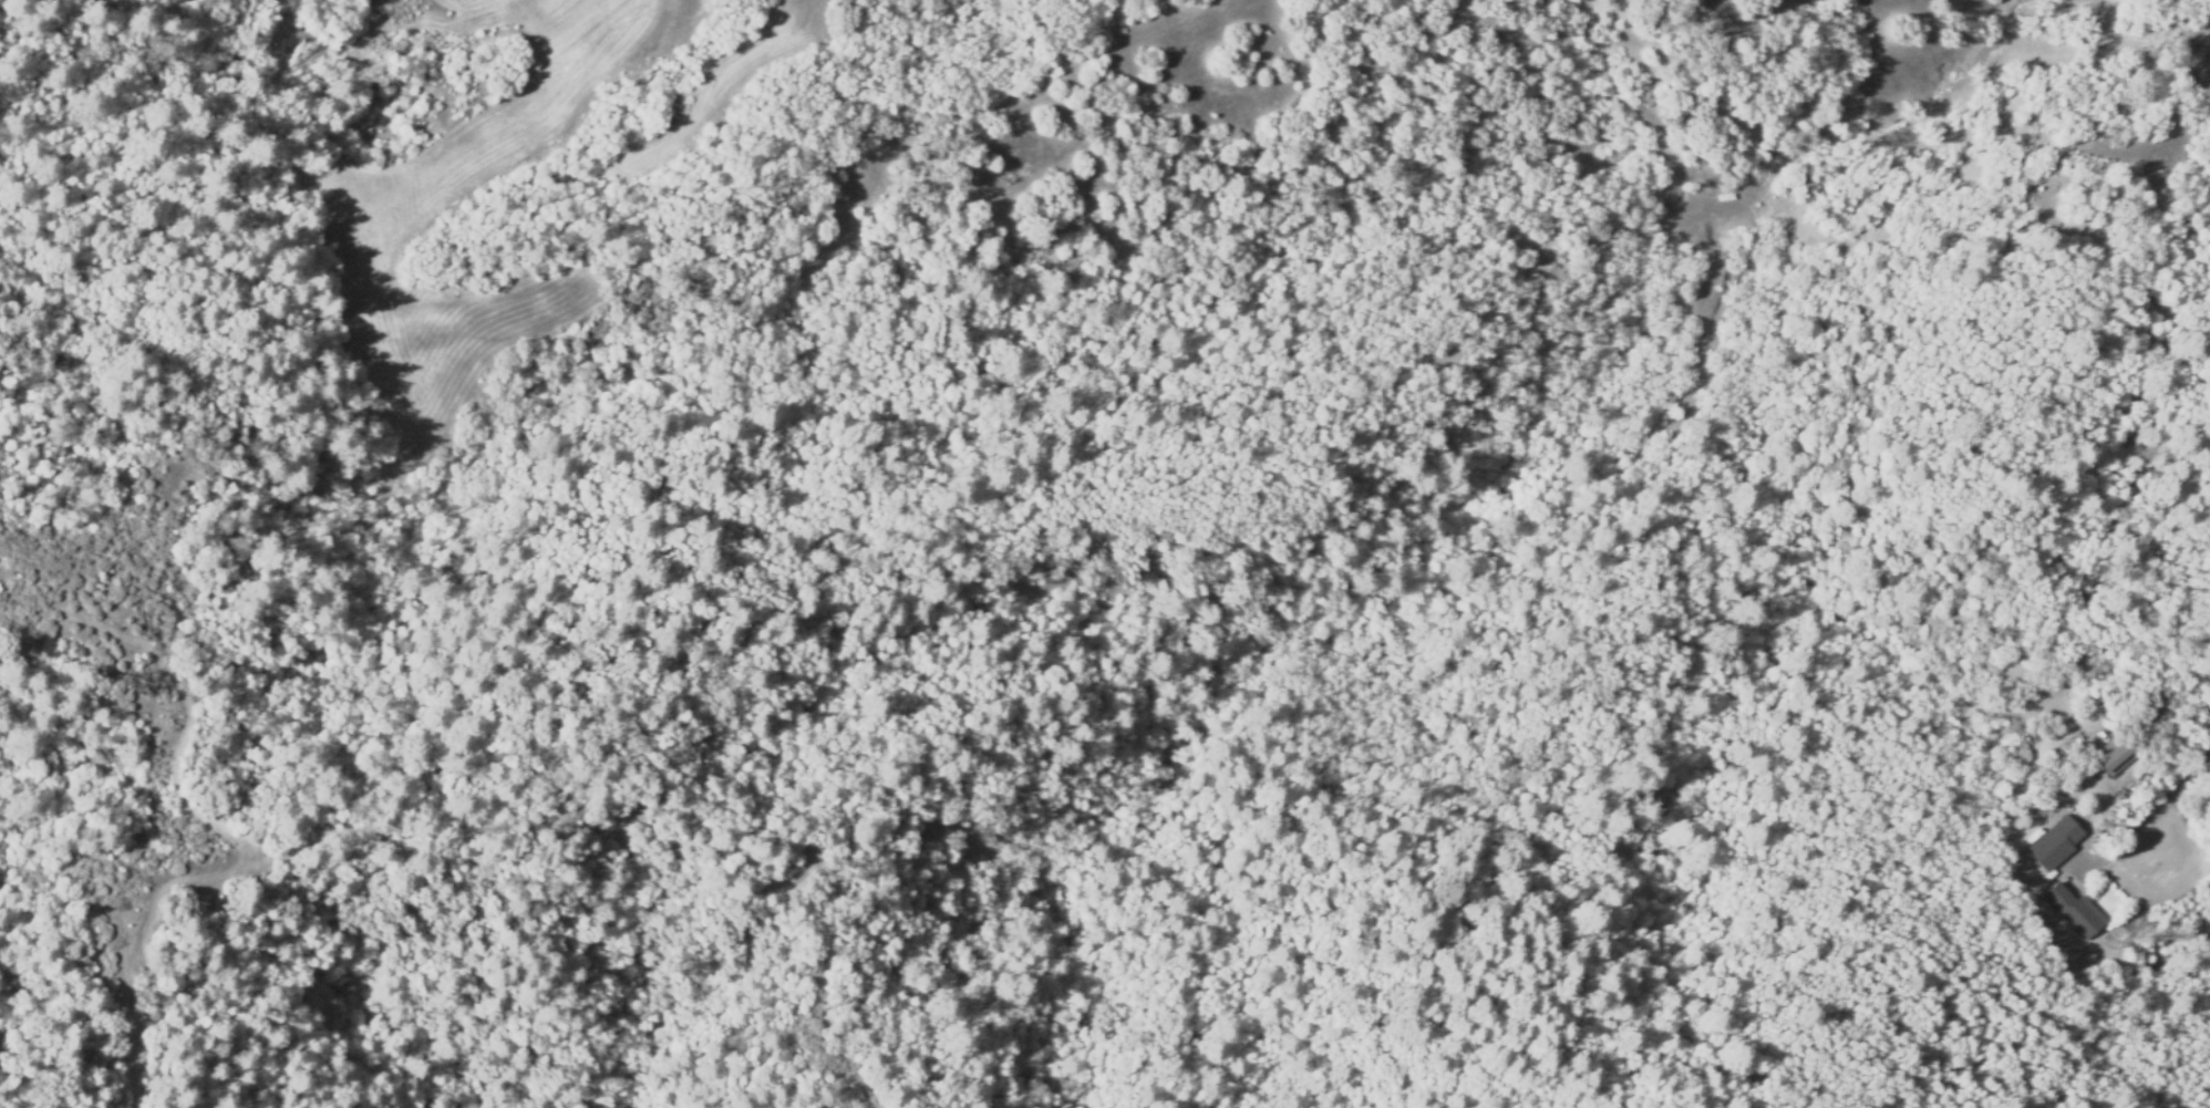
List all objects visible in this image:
building: (1725, 196)
building: (2110, 756)
building: (2047, 850)
building: (2073, 911)

